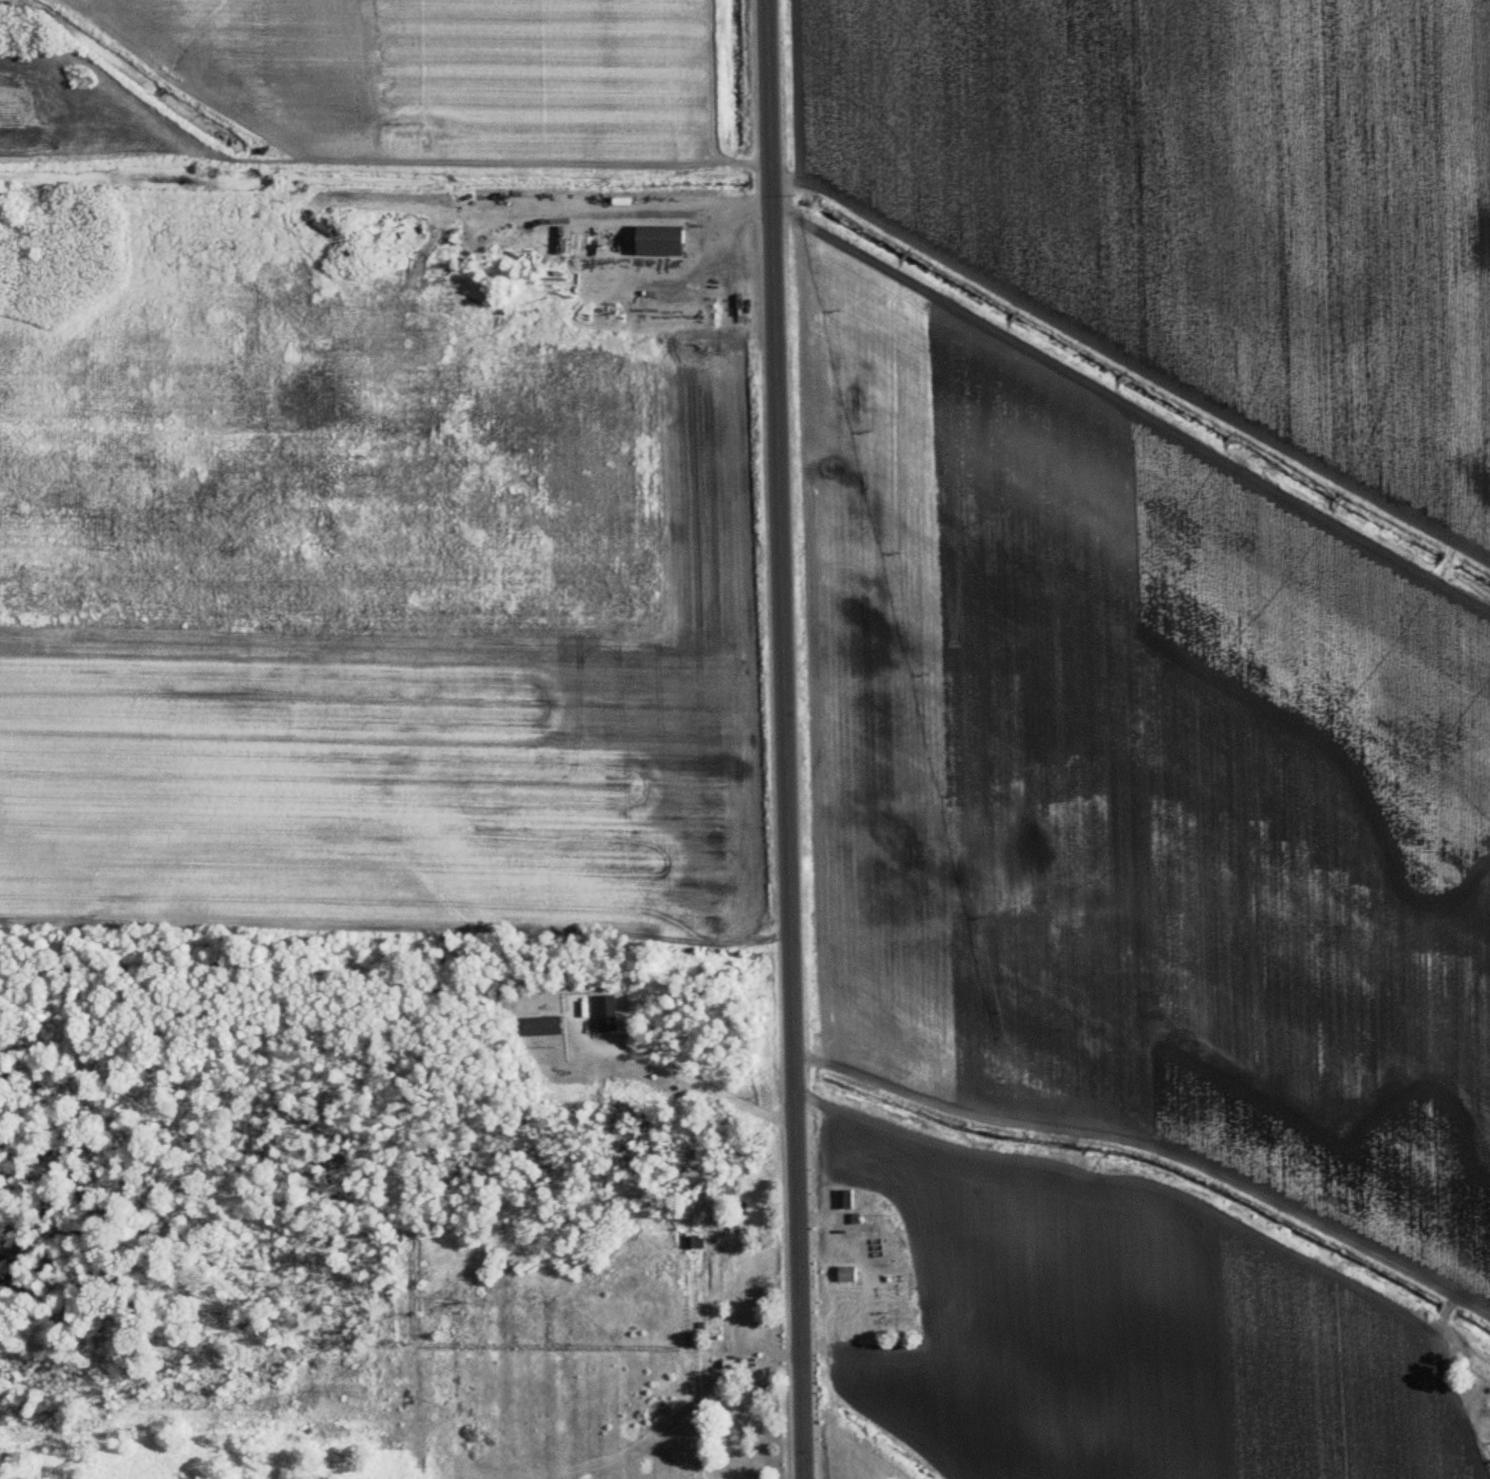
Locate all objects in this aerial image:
building: (659, 242)
road: (786, 739)
building: (606, 1006)
building: (543, 1026)
road: (669, 1070)
building: (845, 1199)
building: (728, 1228)
building: (692, 1243)
building: (847, 1273)
building: (740, 1363)

